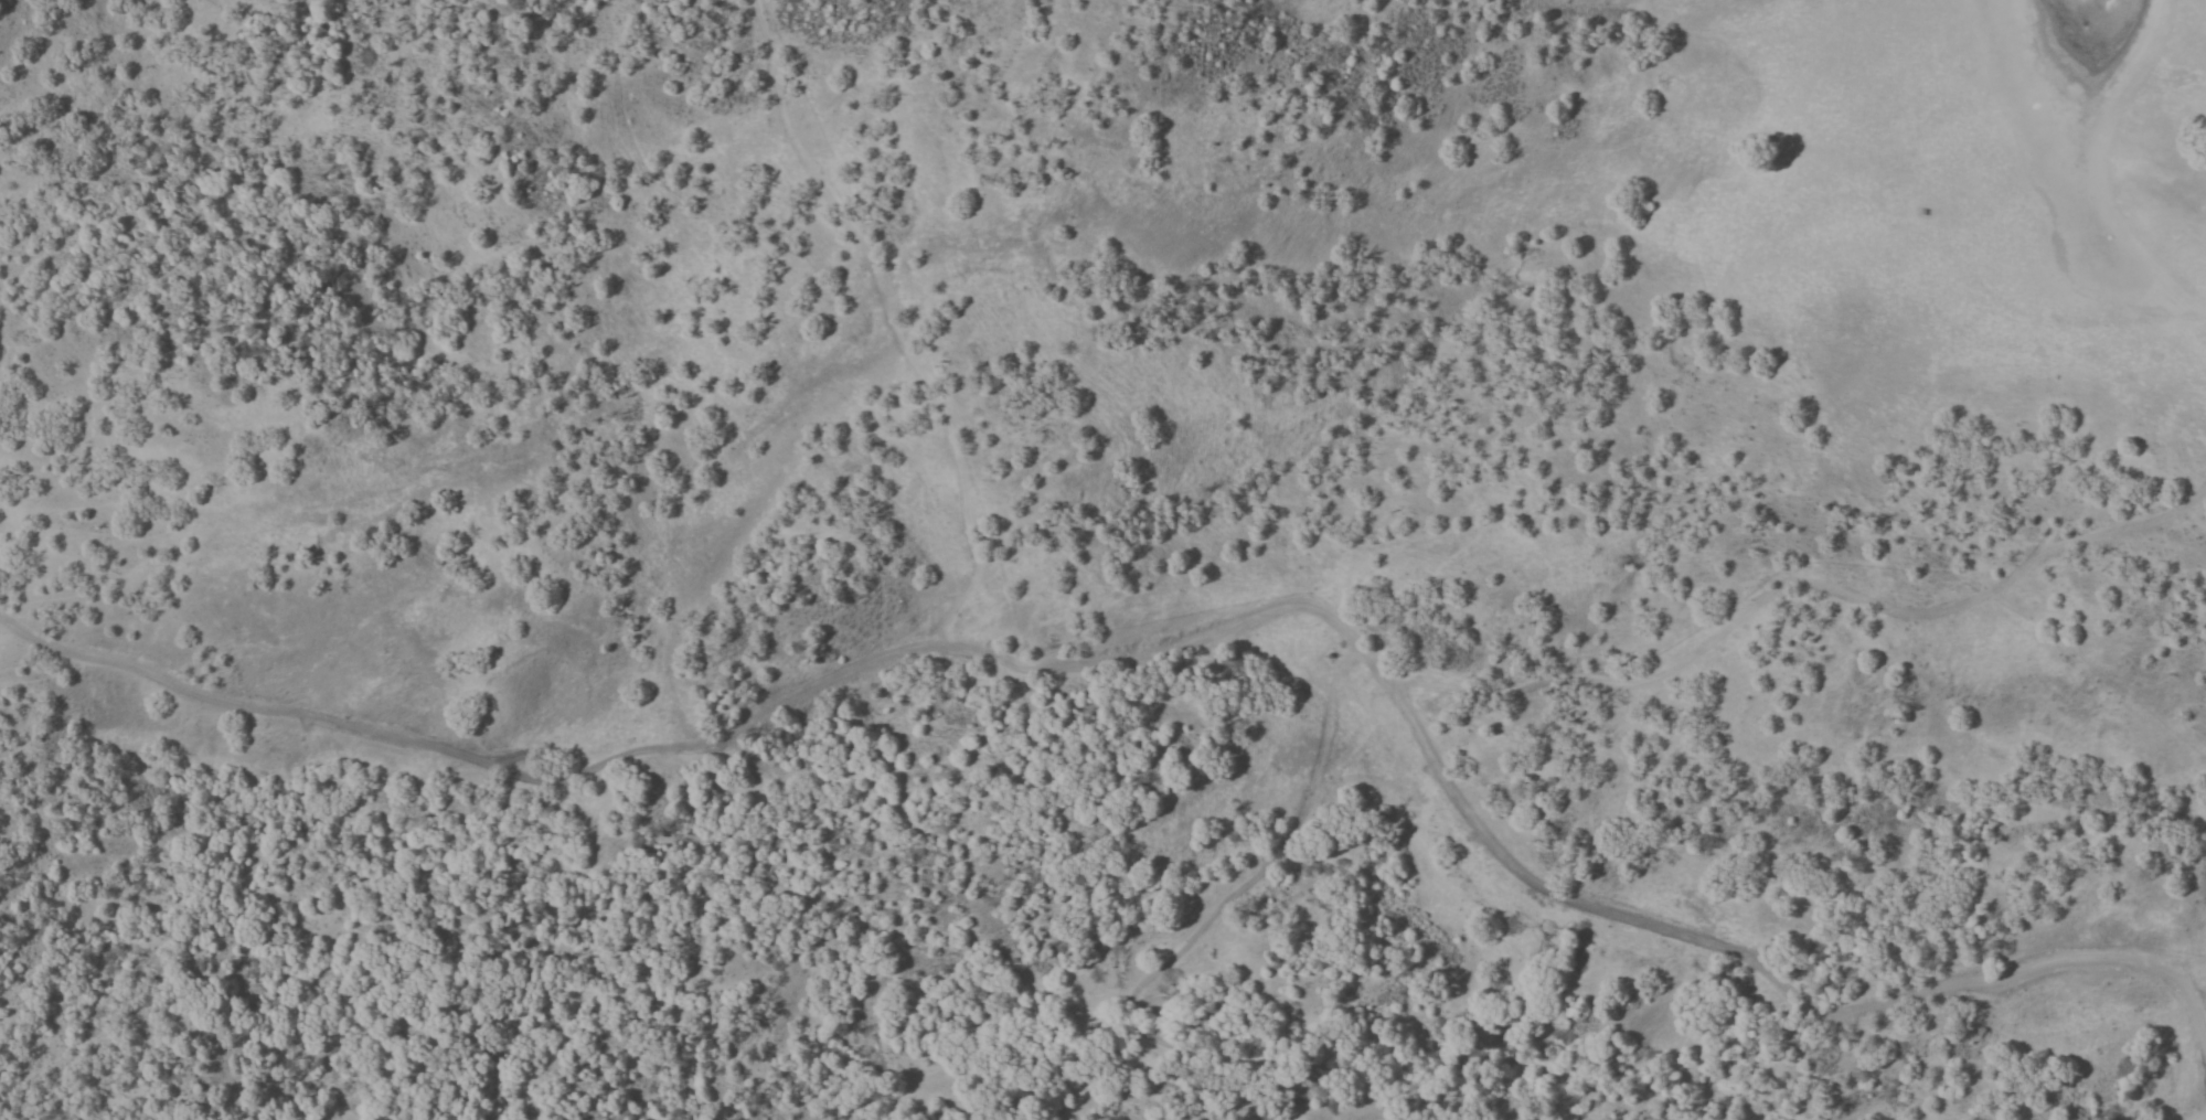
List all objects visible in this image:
road: (2188, 318)
road: (889, 322)
road: (1798, 579)
road: (482, 765)
road: (1490, 850)
road: (1226, 898)
road: (2180, 985)

